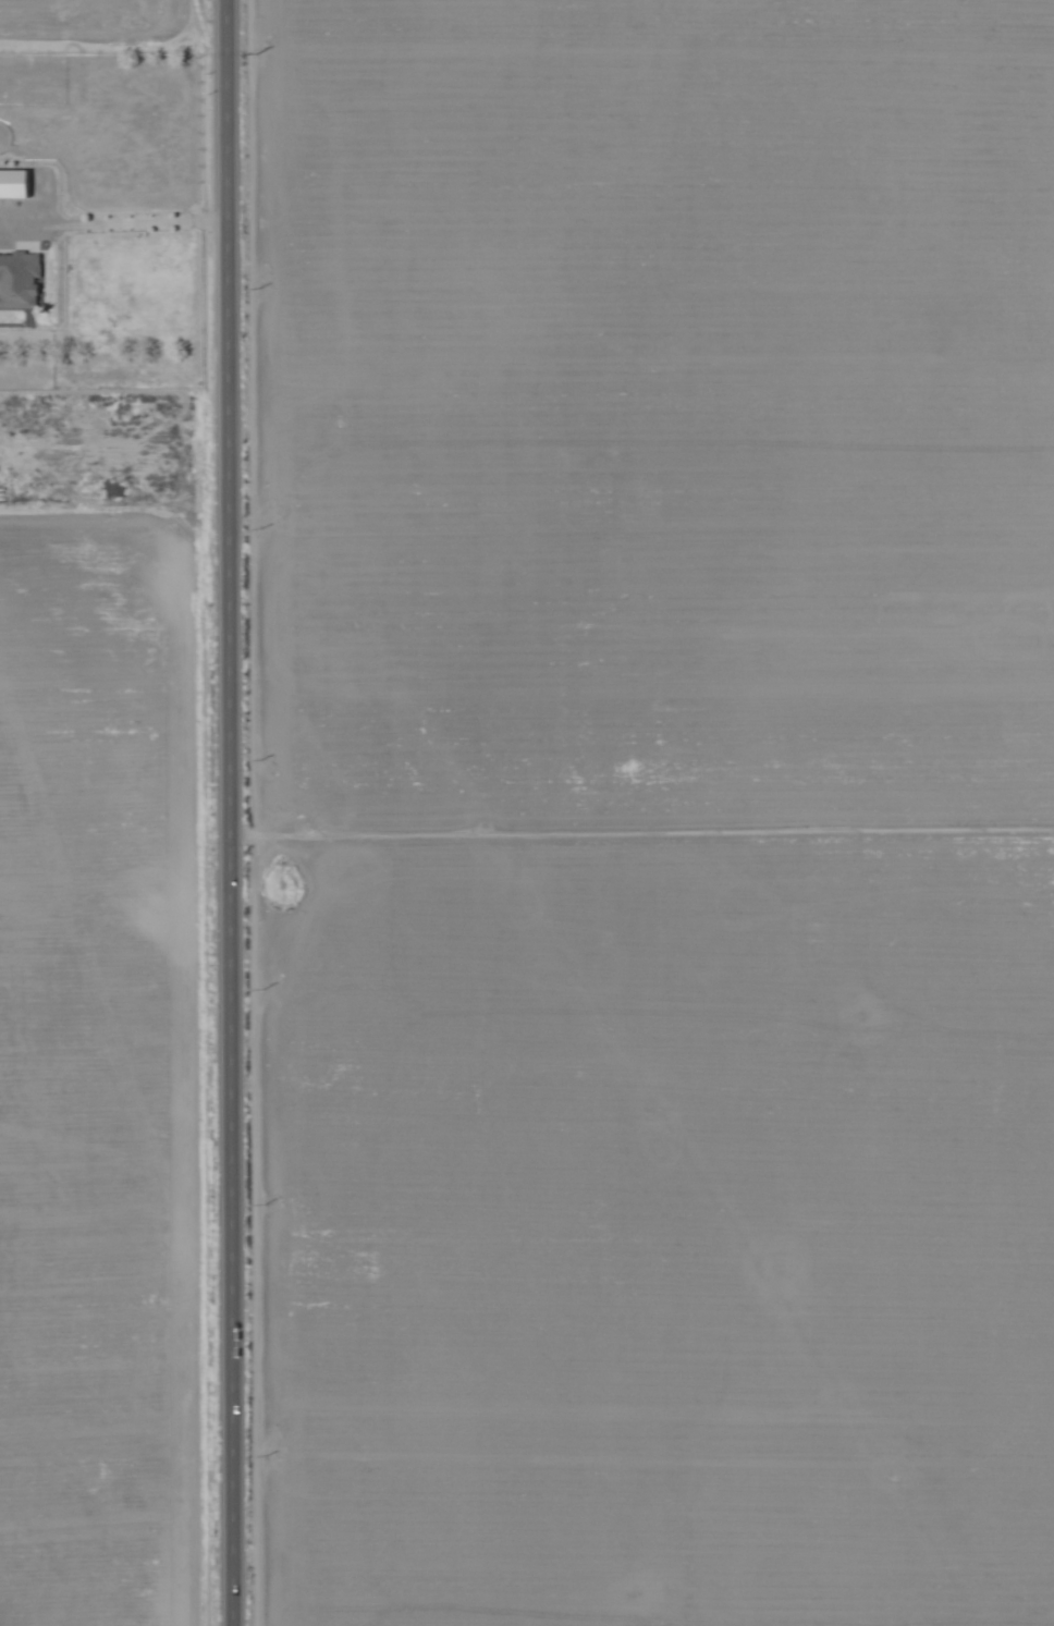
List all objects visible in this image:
building: (14, 184)
road: (117, 232)
building: (19, 281)
road: (117, 487)
road: (235, 812)
road: (119, 1458)

